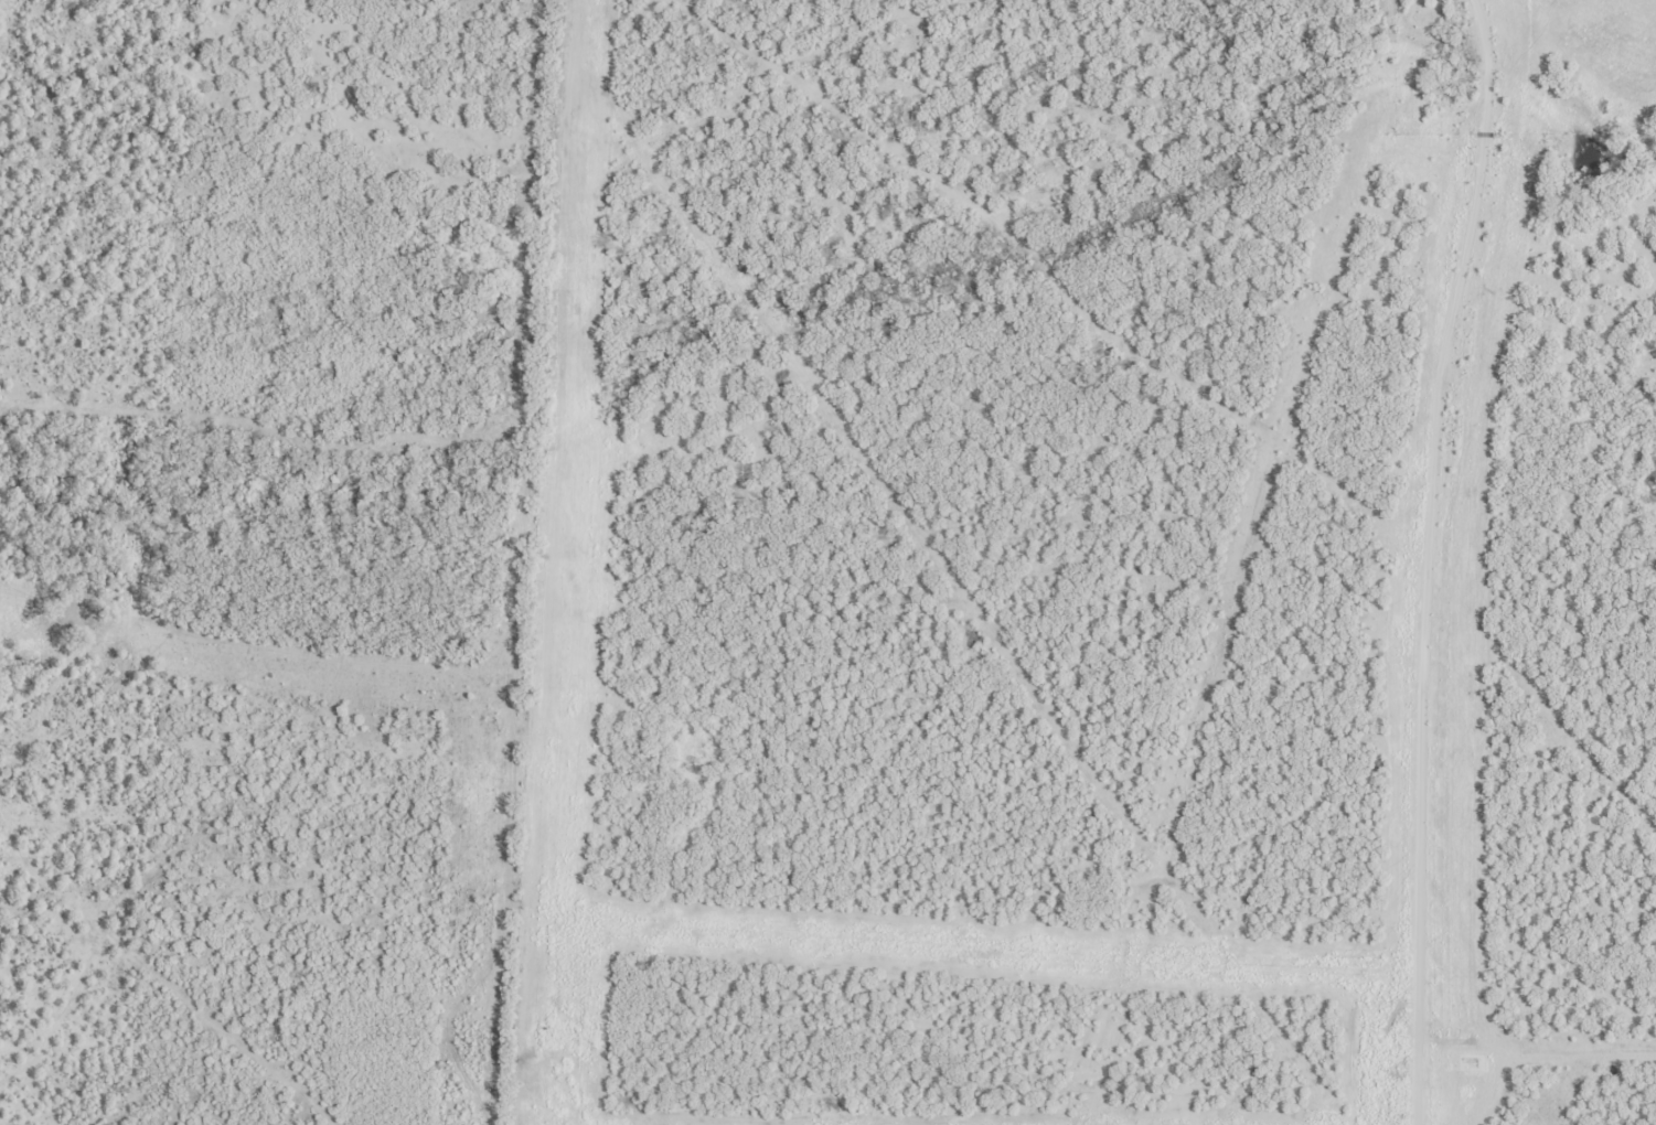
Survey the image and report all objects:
road: (1486, 67)

